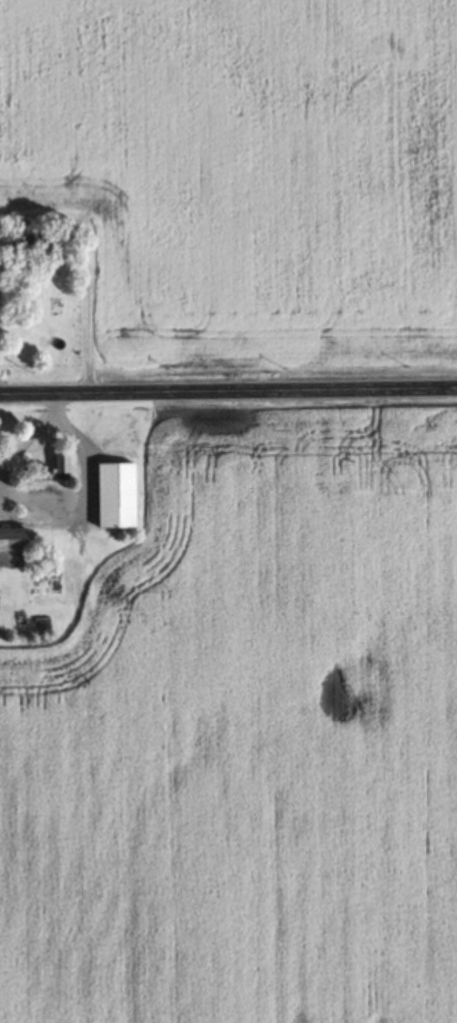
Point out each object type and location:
road: (228, 392)
building: (60, 462)
building: (115, 494)
building: (12, 545)

